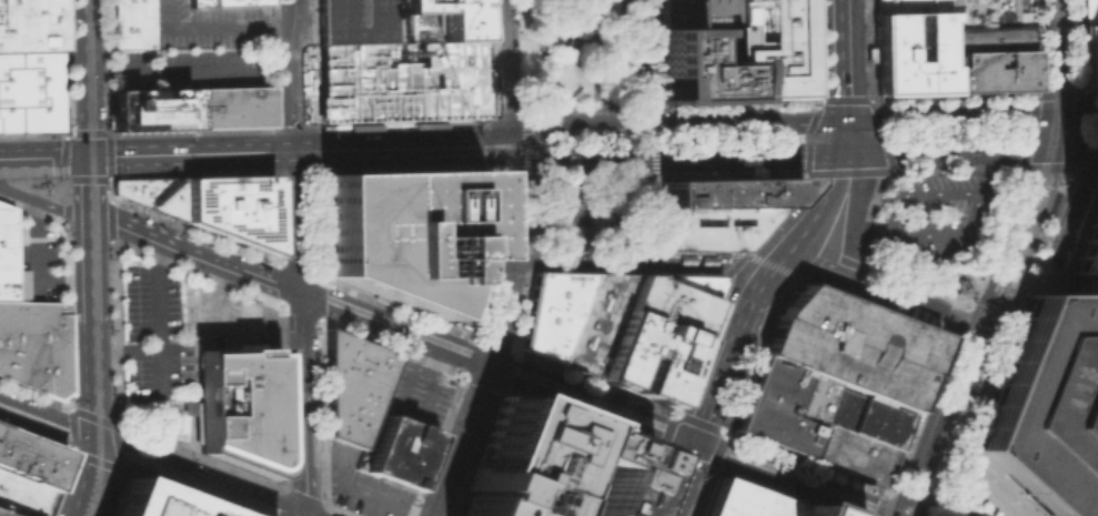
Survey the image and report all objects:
building: (224, 2)
building: (908, 6)
building: (1086, 11)
railway: (93, 12)
building: (677, 12)
building: (716, 12)
road: (94, 14)
building: (450, 17)
building: (356, 21)
parking lot: (356, 21)
building: (128, 23)
building: (29, 24)
parking lot: (206, 24)
road: (216, 26)
building: (987, 38)
building: (773, 48)
building: (910, 51)
road: (537, 53)
road: (593, 53)
building: (1086, 54)
road: (1050, 57)
road: (848, 59)
road: (633, 62)
building: (698, 62)
road: (504, 63)
road: (104, 65)
parking lot: (214, 65)
parking lot: (134, 68)
road: (228, 68)
road: (122, 70)
road: (295, 70)
building: (988, 70)
road: (84, 77)
railway: (1056, 90)
building: (29, 91)
building: (230, 105)
road: (638, 105)
road: (567, 107)
road: (610, 107)
building: (149, 108)
road: (530, 108)
road: (1074, 112)
road: (877, 114)
traffic signals: (1050, 114)
road: (950, 117)
traffic signals: (850, 119)
park: (573, 124)
road: (658, 124)
road: (849, 128)
road: (85, 132)
road: (1047, 132)
road: (295, 141)
road: (654, 141)
road: (521, 143)
road: (849, 144)
road: (404, 148)
road: (1070, 148)
traffic signals: (1045, 150)
road: (947, 151)
road: (172, 153)
road: (659, 153)
traffic signals: (849, 153)
traffic signals: (85, 154)
road: (42, 155)
road: (62, 155)
road: (108, 155)
road: (296, 159)
road: (1062, 166)
road: (985, 173)
road: (858, 176)
road: (56, 179)
road: (85, 179)
road: (87, 185)
road: (109, 189)
road: (63, 191)
building: (727, 191)
building: (152, 192)
road: (974, 194)
road: (70, 195)
road: (826, 195)
road: (43, 202)
road: (1074, 203)
building: (232, 205)
road: (639, 209)
road: (32, 210)
road: (110, 210)
road: (66, 213)
road: (571, 213)
parking lot: (940, 214)
building: (597, 221)
building: (545, 223)
building: (711, 225)
road: (873, 229)
building: (401, 231)
road: (837, 231)
road: (854, 232)
road: (154, 236)
road: (1011, 241)
road: (795, 244)
building: (1086, 257)
building: (10, 259)
railway: (93, 259)
road: (506, 261)
road: (734, 262)
road: (574, 263)
road: (703, 263)
road: (809, 263)
road: (36, 264)
road: (774, 265)
road: (770, 266)
road: (261, 277)
road: (866, 280)
building: (691, 281)
road: (221, 292)
road: (876, 297)
building: (665, 304)
road: (935, 306)
building: (551, 311)
parking lot: (220, 318)
building: (593, 321)
traffic signals: (969, 327)
road: (302, 337)
parking lot: (151, 338)
building: (34, 344)
building: (850, 344)
parking lot: (850, 344)
railway: (977, 347)
road: (965, 350)
road: (125, 351)
road: (159, 351)
building: (644, 357)
road: (726, 361)
road: (498, 366)
road: (92, 367)
building: (353, 385)
parking lot: (414, 393)
road: (36, 394)
building: (238, 405)
building: (783, 405)
building: (1048, 405)
road: (416, 406)
road: (91, 416)
building: (864, 416)
road: (933, 422)
road: (71, 429)
road: (957, 432)
traffic signals: (93, 438)
road: (460, 438)
traffic signals: (695, 443)
building: (525, 444)
road: (117, 446)
building: (394, 449)
building: (849, 454)
building: (29, 458)
road: (147, 458)
road: (97, 461)
road: (709, 468)
building: (596, 475)
road: (681, 478)
road: (790, 478)
road: (995, 478)
parking lot: (362, 485)
road: (112, 492)
road: (967, 492)
road: (361, 494)
building: (21, 496)
road: (908, 497)
building: (498, 498)
railway: (938, 499)
building: (739, 500)
building: (155, 502)
road: (95, 510)
road: (927, 510)
road: (941, 510)
building: (800, 512)
building: (1, 515)

